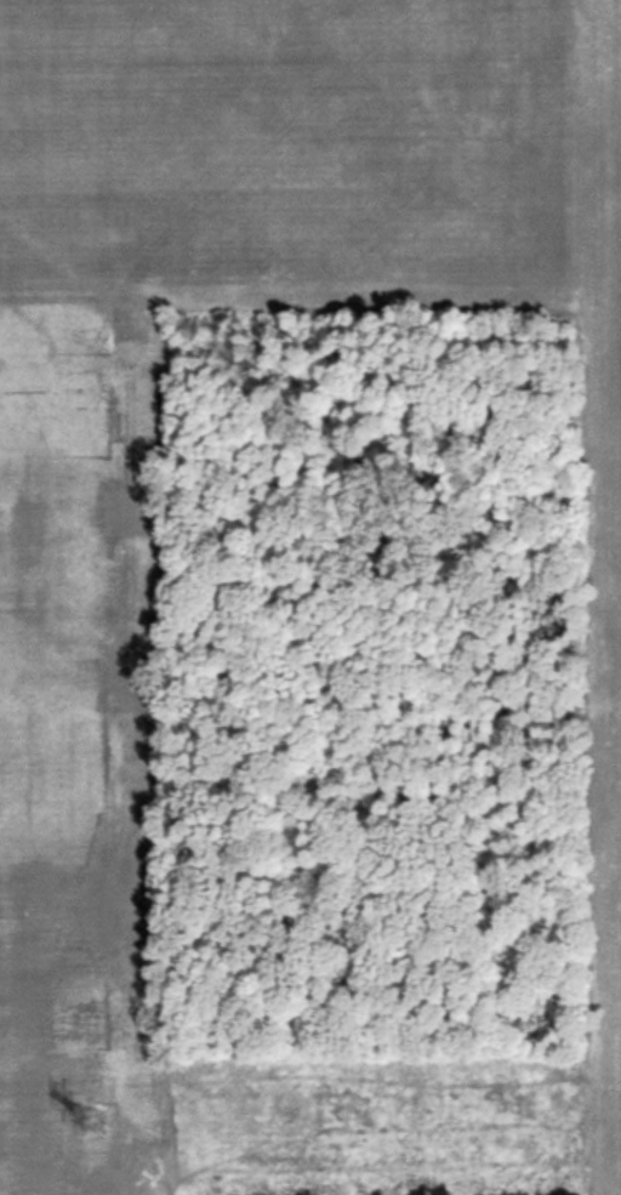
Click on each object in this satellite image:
power tower: (95, 1125)

